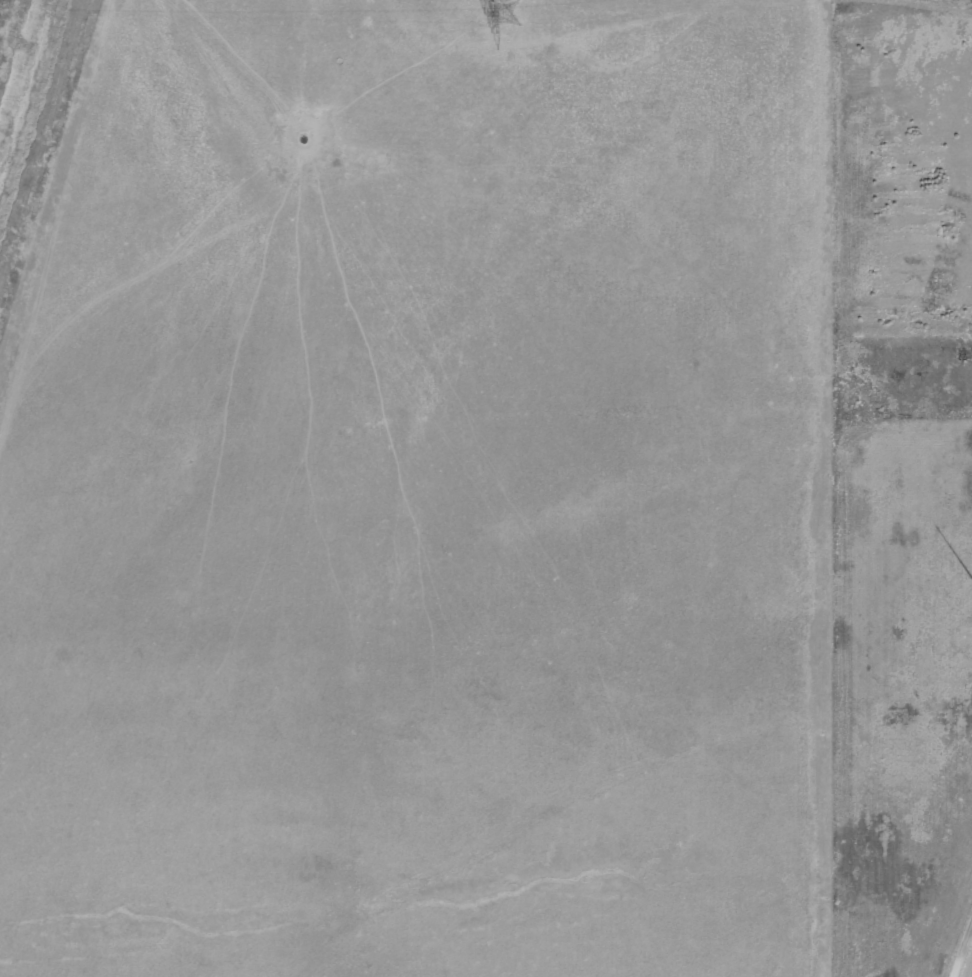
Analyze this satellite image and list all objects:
power tower: (504, 13)

